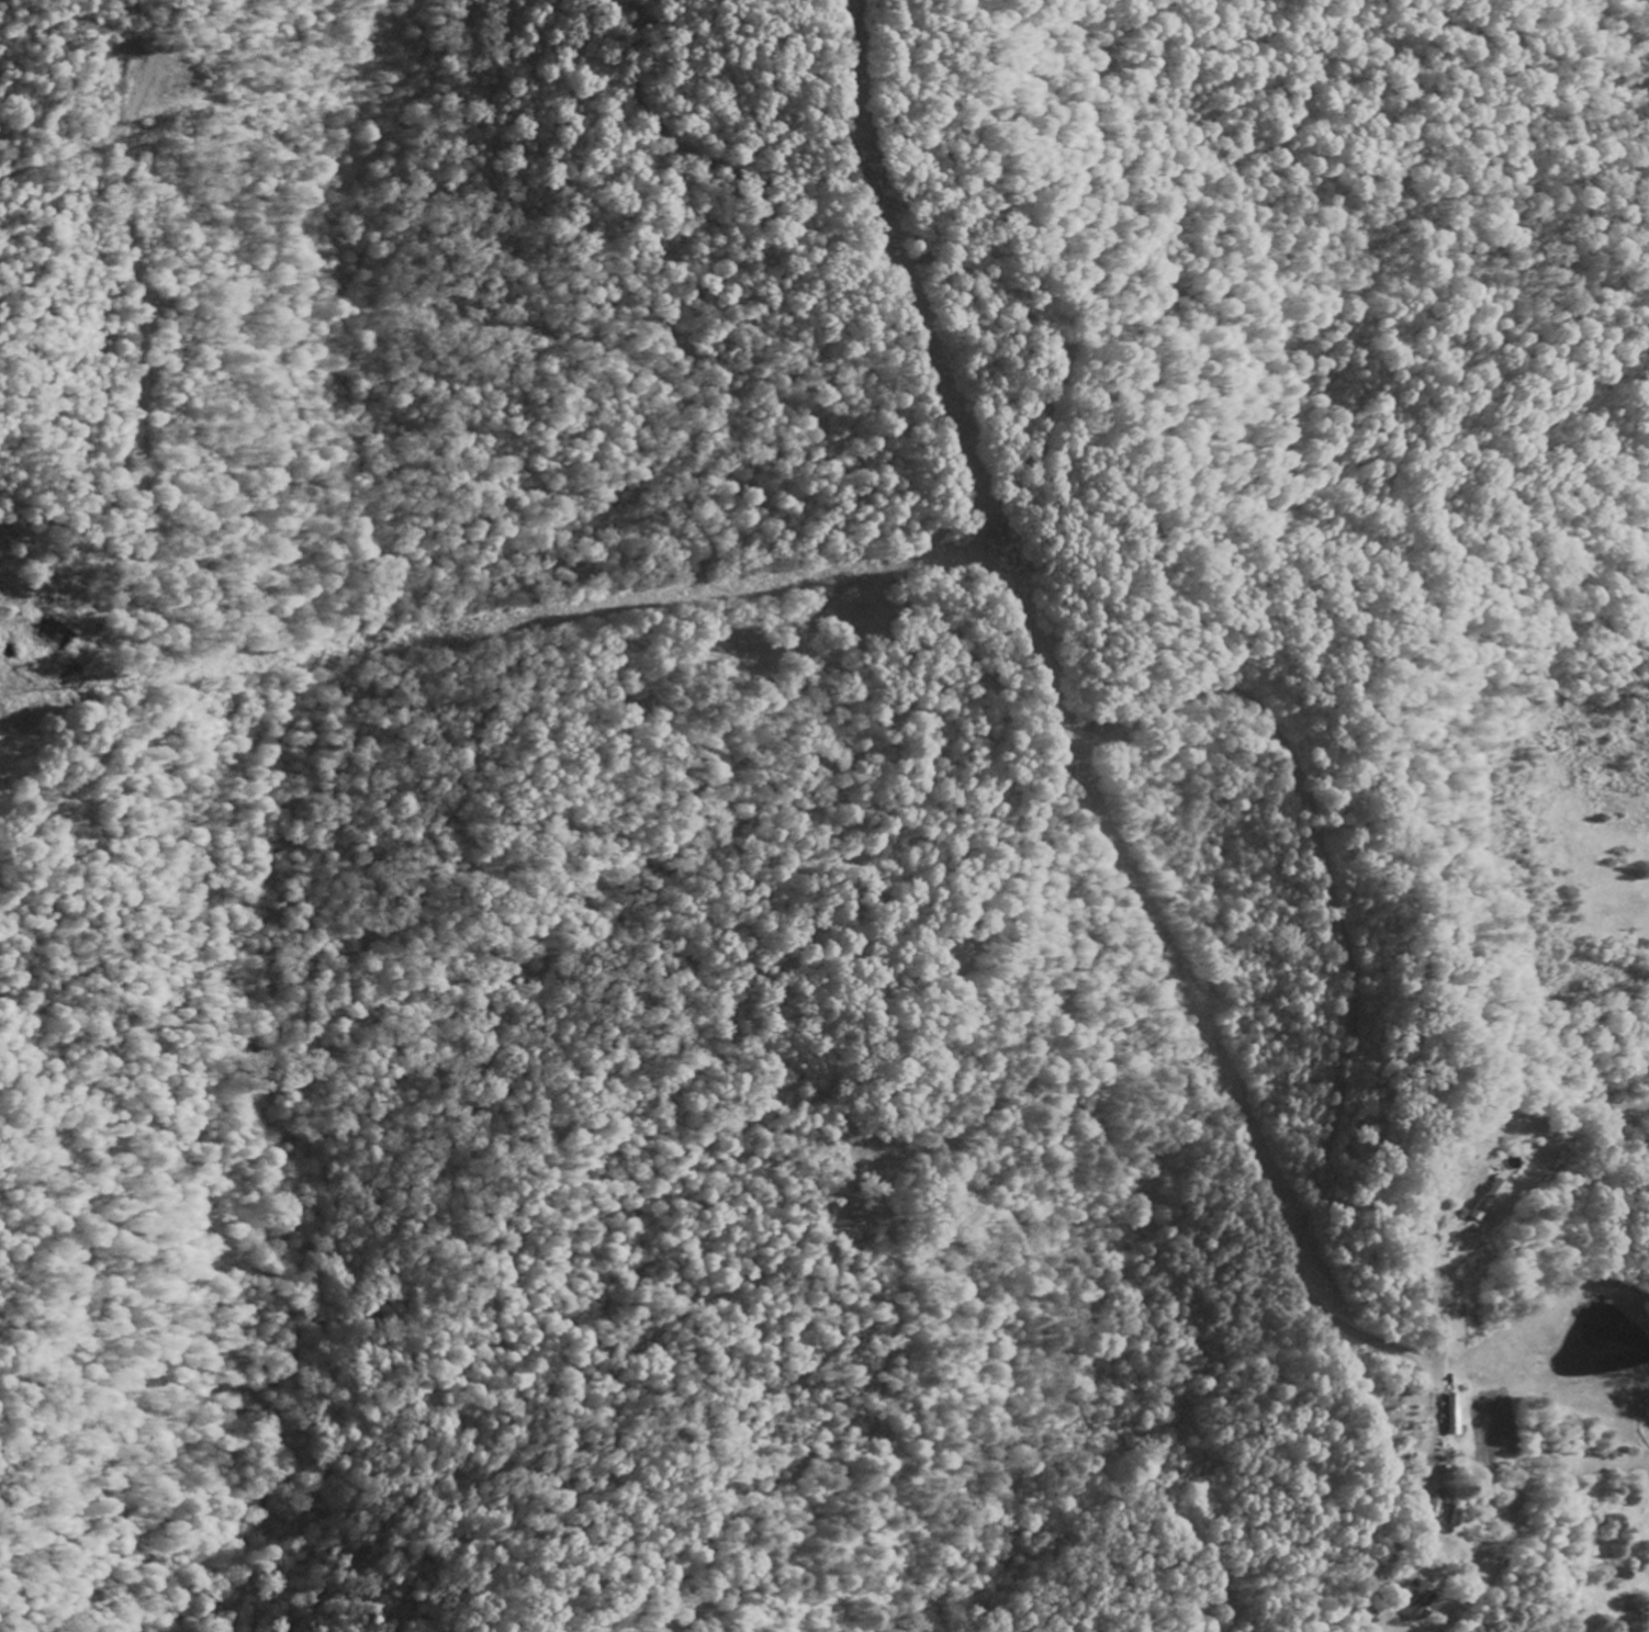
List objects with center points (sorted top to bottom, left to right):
road: (139, 318)
road: (71, 530)
road: (1054, 707)
park: (943, 946)
road: (1389, 1213)
road: (1482, 1234)
road: (1431, 1479)

